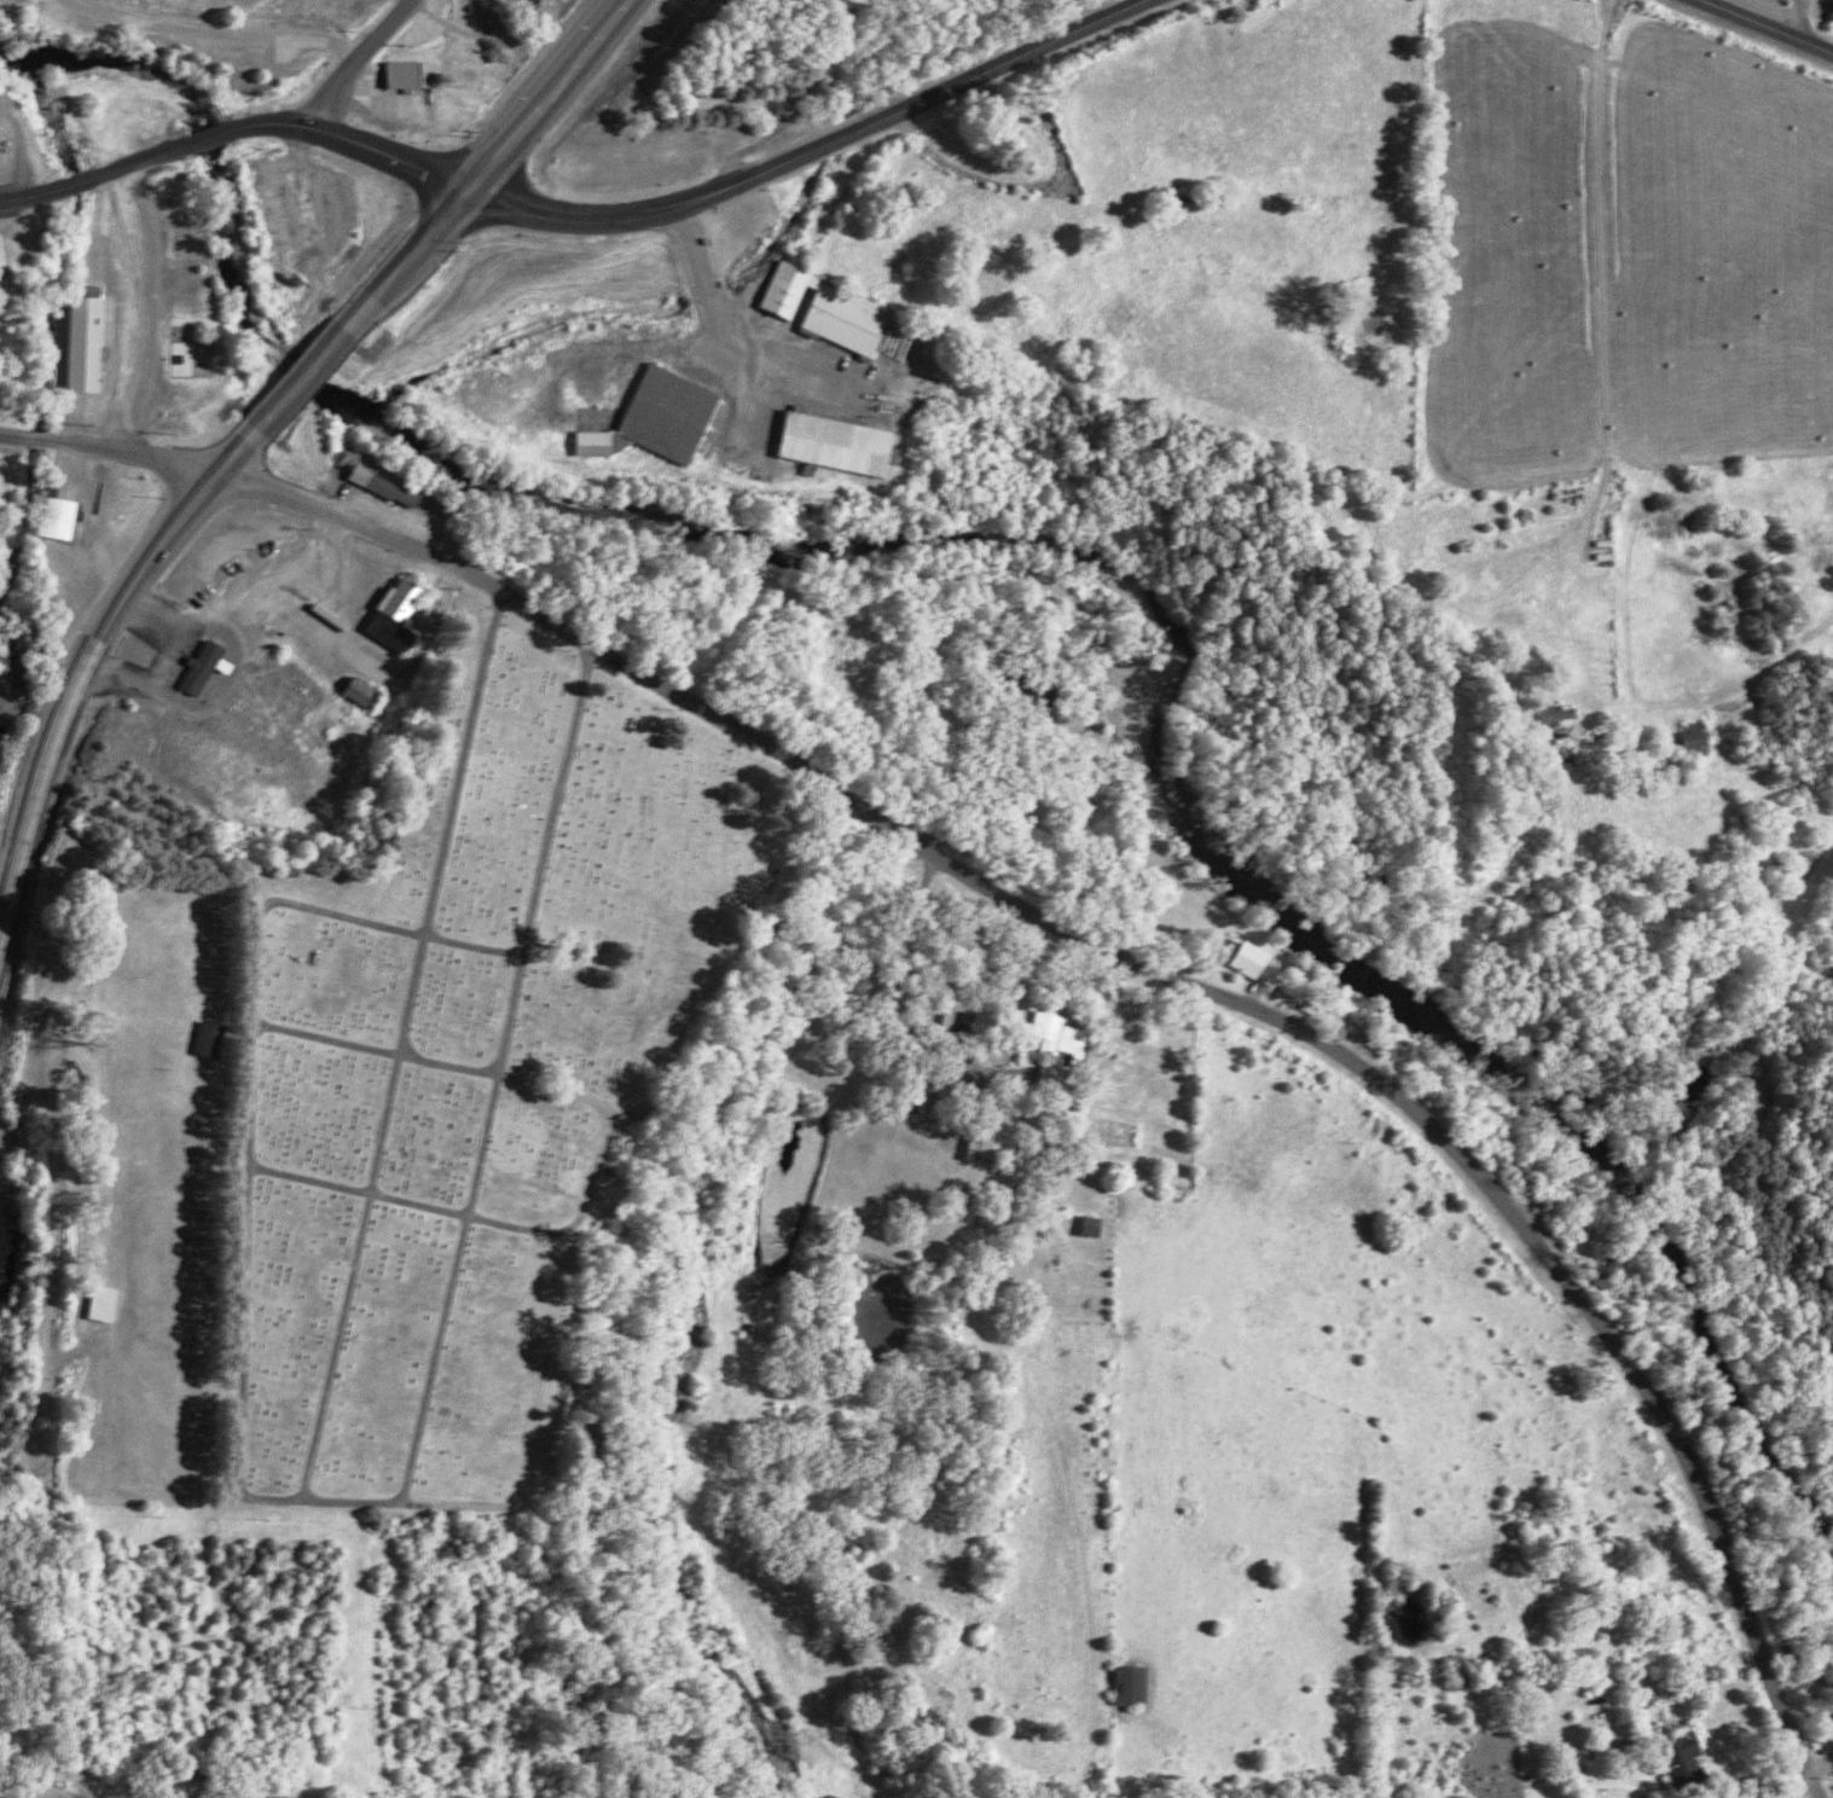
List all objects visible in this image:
road: (1796, 18)
road: (1763, 27)
road: (358, 60)
building: (414, 72)
road: (216, 144)
road: (817, 145)
road: (370, 147)
building: (0, 164)
road: (501, 167)
road: (957, 169)
road: (88, 185)
building: (2, 259)
building: (92, 290)
road: (708, 295)
building: (831, 308)
road: (133, 311)
road: (1600, 327)
building: (86, 343)
building: (898, 343)
road: (304, 382)
building: (669, 413)
building: (593, 442)
building: (840, 443)
road: (116, 447)
building: (388, 486)
building: (62, 518)
building: (399, 615)
park: (13, 622)
building: (211, 667)
building: (367, 691)
road: (81, 709)
building: (1564, 714)
building: (1698, 725)
building: (1699, 741)
building: (1252, 961)
road: (1174, 985)
building: (1061, 1033)
building: (211, 1039)
building: (1052, 1071)
park: (456, 1079)
road: (1067, 1115)
building: (992, 1141)
building: (1094, 1225)
building: (11, 1263)
building: (105, 1303)
building: (1132, 1683)
building: (1827, 1721)
building: (1684, 1750)
building: (288, 1797)

